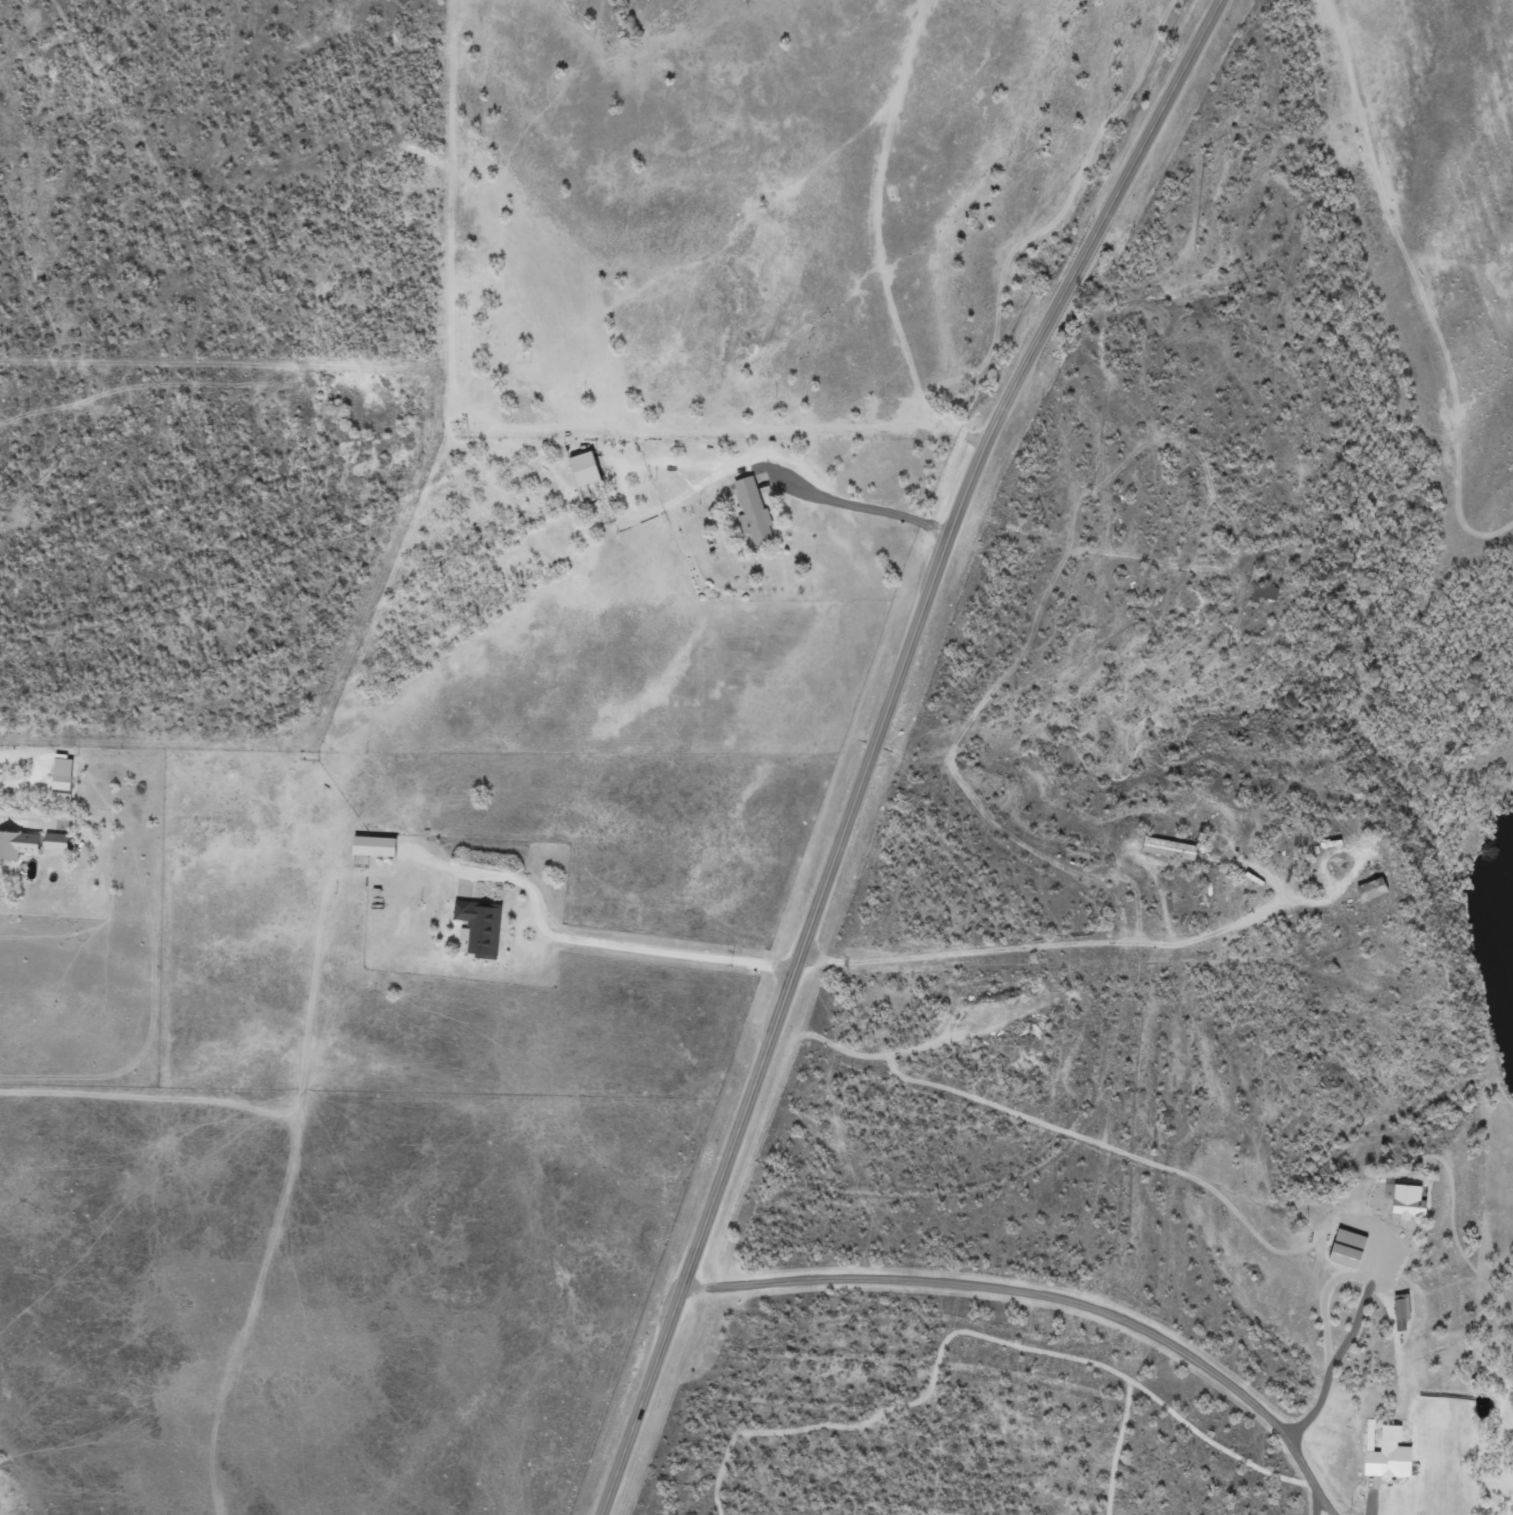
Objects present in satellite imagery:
building: (589, 468)
building: (756, 512)
building: (1257, 573)
building: (1268, 592)
road: (877, 742)
building: (66, 774)
building: (60, 841)
building: (19, 845)
building: (378, 846)
building: (1173, 849)
building: (1375, 889)
building: (483, 927)
building: (1412, 1200)
building: (1352, 1247)
building: (1405, 1310)
building: (1391, 1453)

